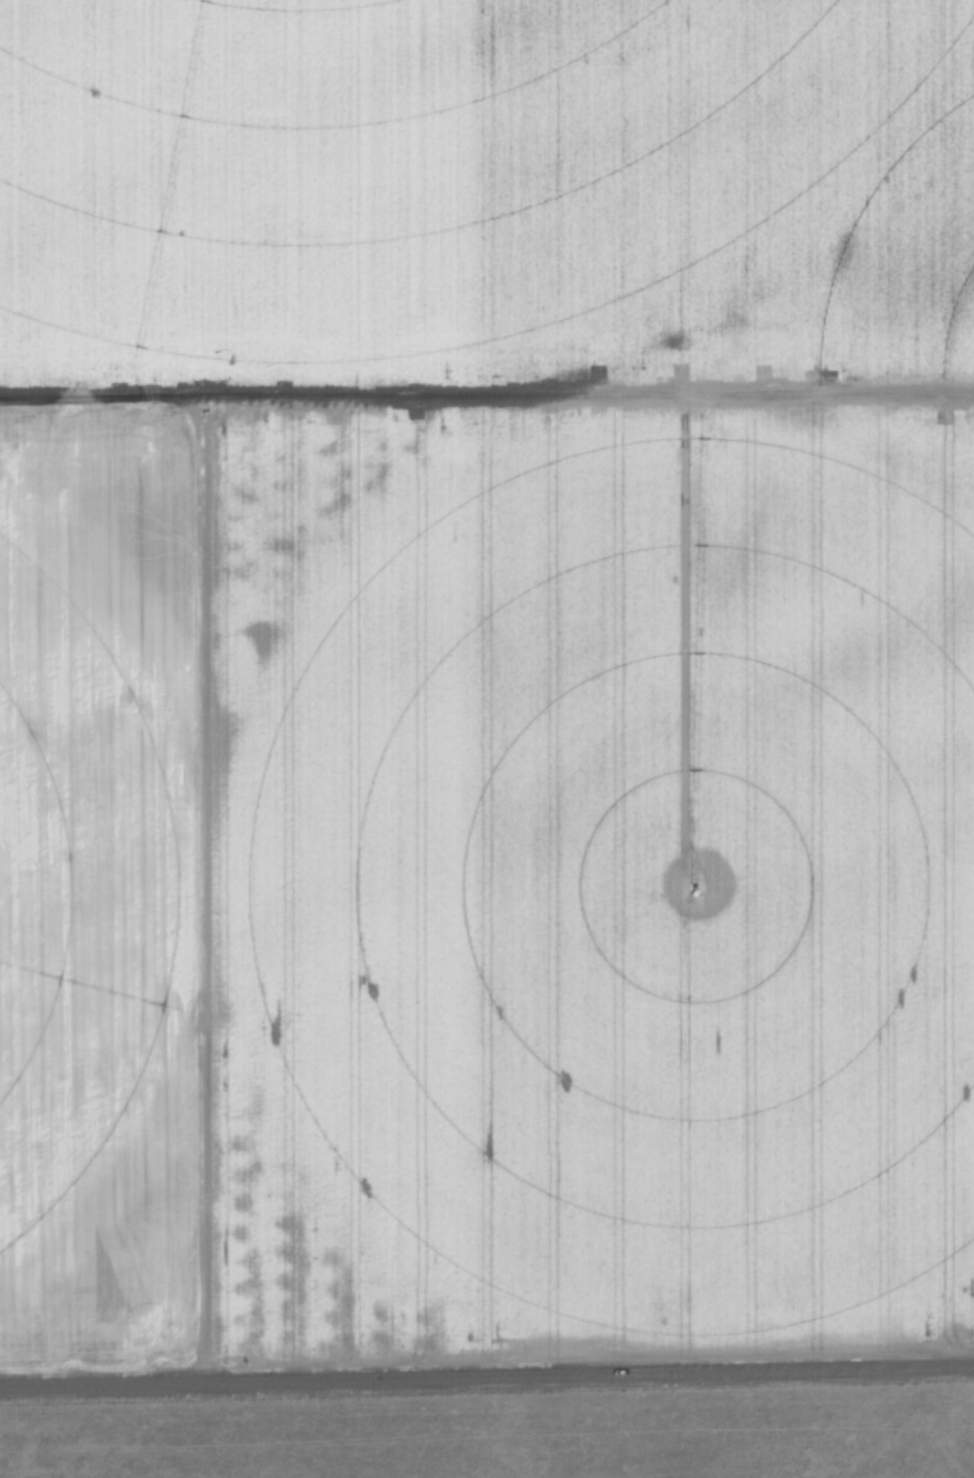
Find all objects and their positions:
road: (487, 1374)

